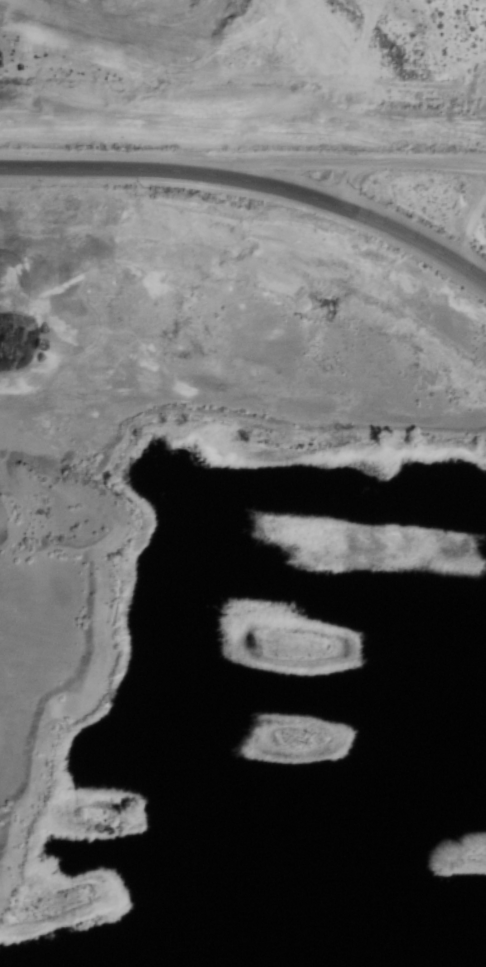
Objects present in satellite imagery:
road: (313, 160)
road: (70, 164)
road: (356, 181)
road: (321, 195)

